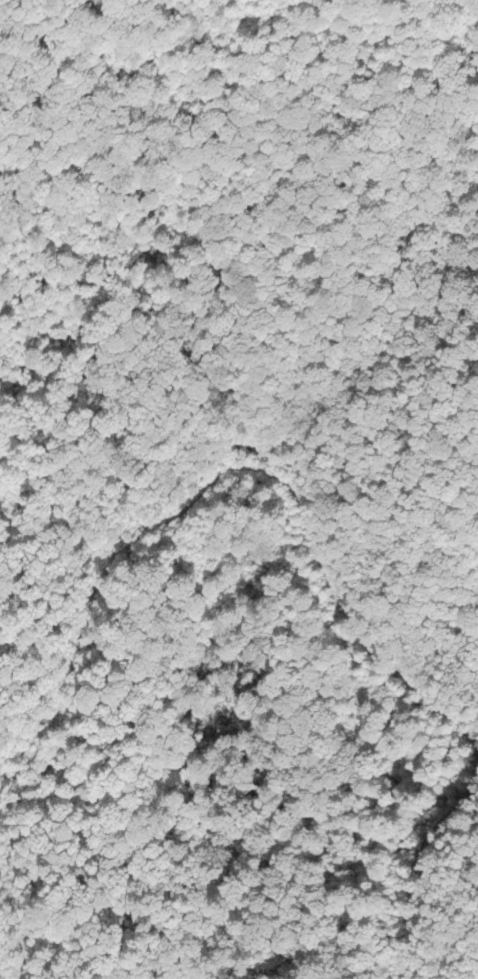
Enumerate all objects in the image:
road: (141, 843)

